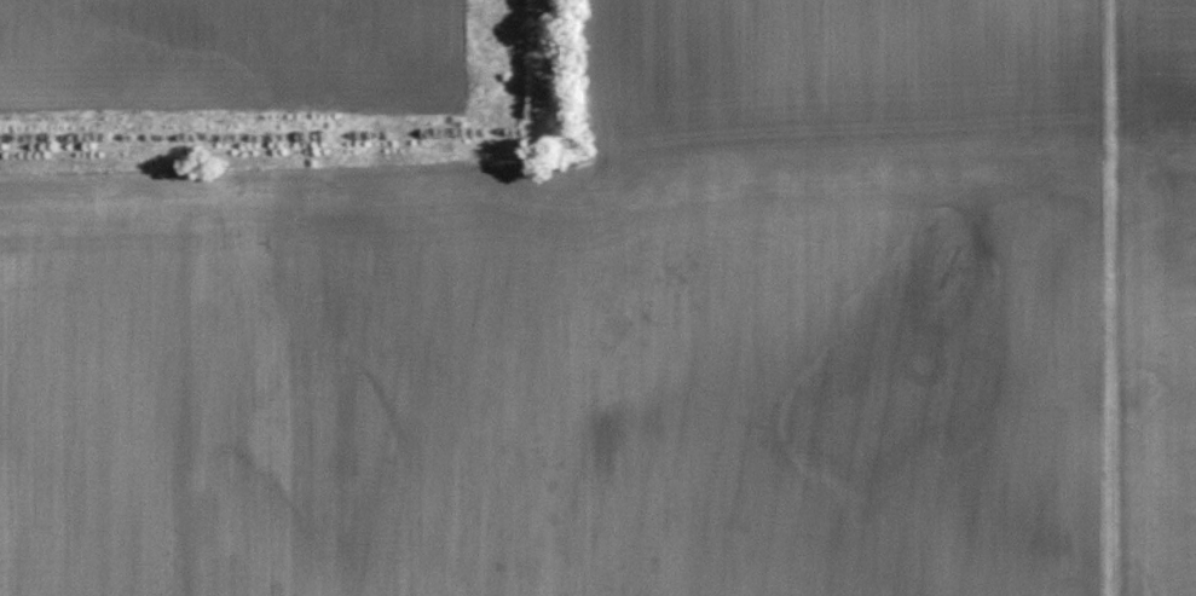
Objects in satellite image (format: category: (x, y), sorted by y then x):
crop: (221, 40)
crop: (831, 82)
crop: (1167, 293)
road: (1109, 297)
crop: (544, 381)

